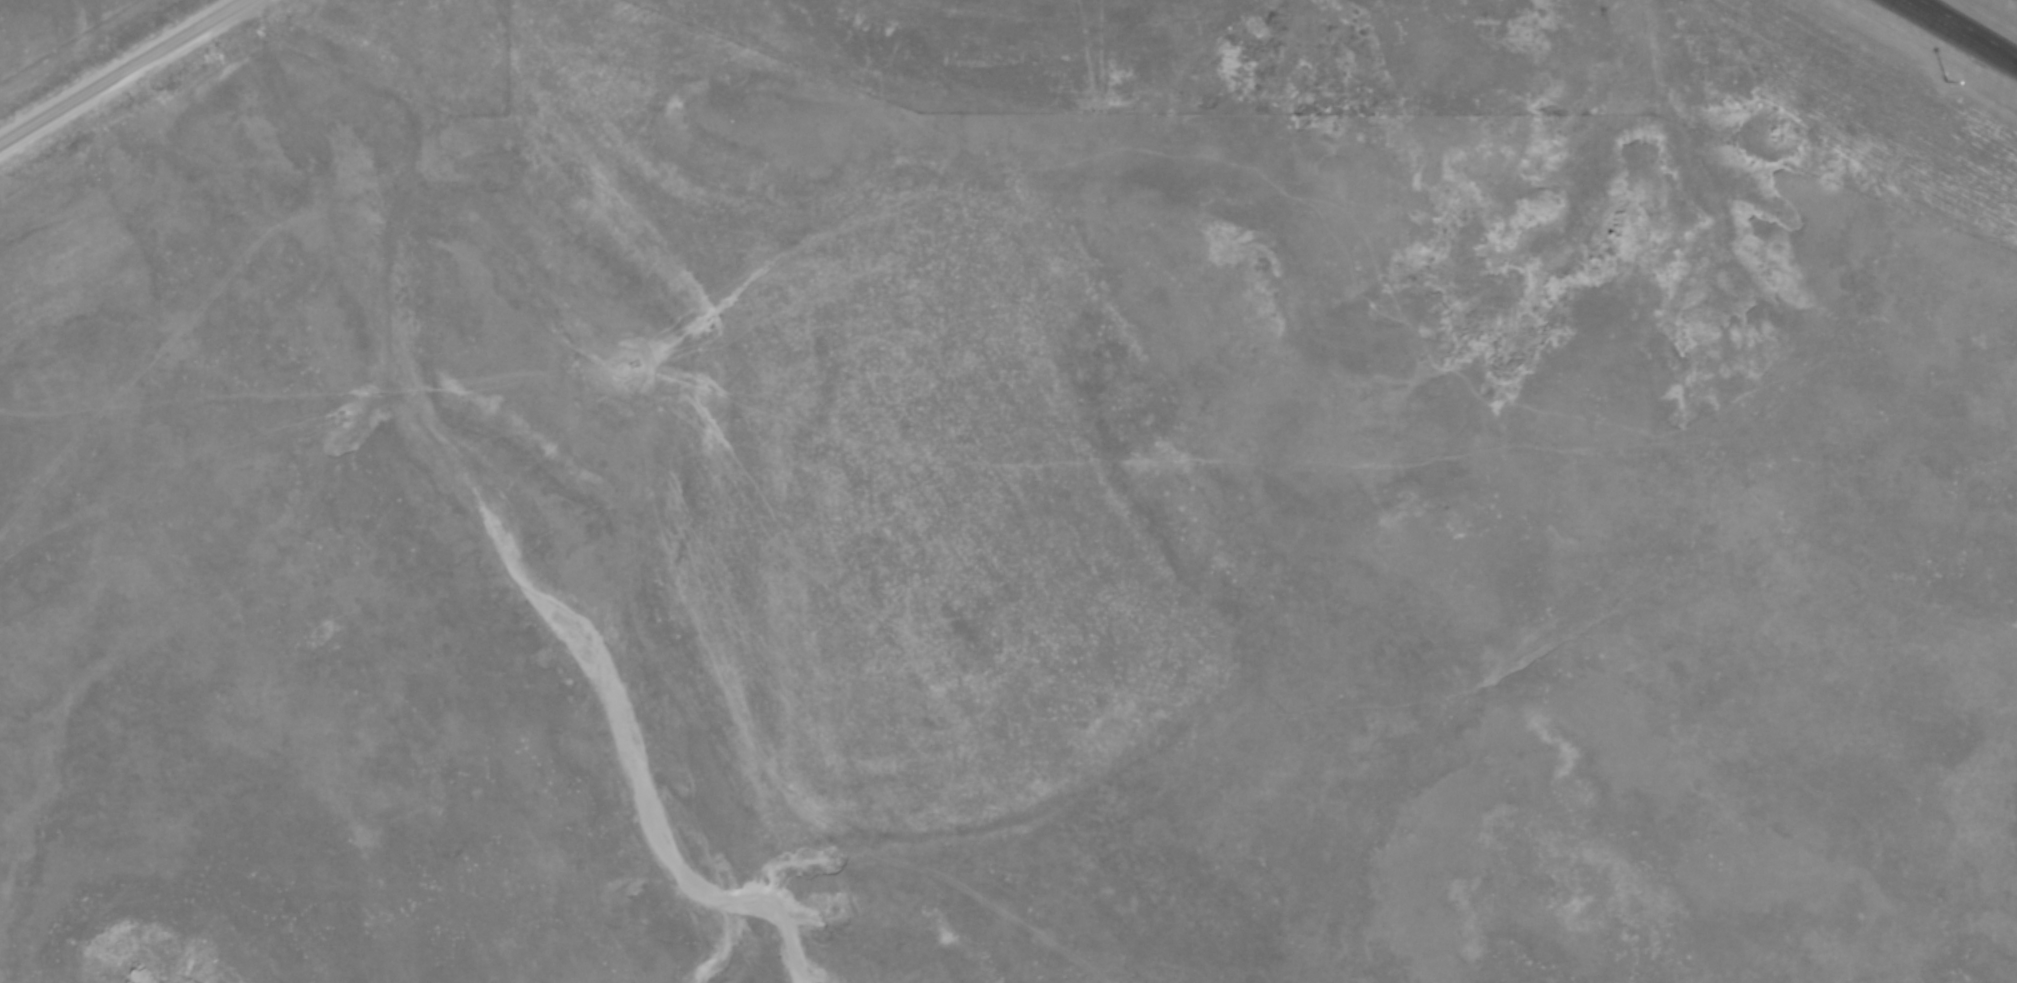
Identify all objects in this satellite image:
road: (1931, 10)
road: (1970, 27)
road: (125, 74)

